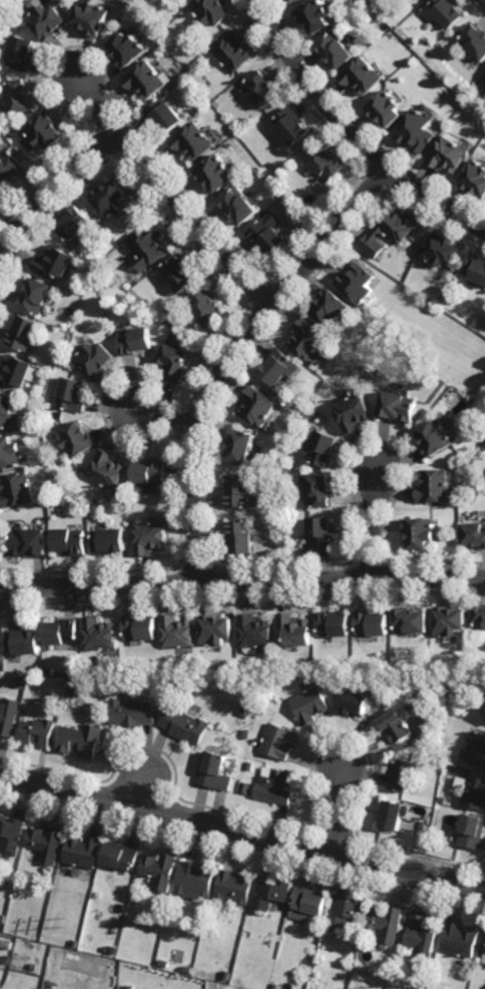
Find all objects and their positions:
building: (292, 0)
building: (294, 0)
building: (211, 10)
building: (442, 12)
building: (315, 15)
building: (94, 17)
building: (47, 18)
building: (474, 41)
building: (126, 48)
building: (336, 49)
building: (232, 51)
building: (23, 52)
building: (362, 75)
building: (144, 79)
building: (484, 82)
building: (261, 88)
building: (21, 96)
building: (386, 108)
building: (191, 113)
building: (164, 115)
building: (290, 125)
building: (46, 131)
road: (352, 131)
building: (417, 131)
building: (193, 141)
building: (473, 148)
building: (448, 154)
building: (325, 162)
building: (10, 166)
building: (215, 173)
building: (475, 178)
road: (47, 191)
road: (170, 193)
building: (1, 196)
building: (113, 200)
building: (239, 206)
building: (75, 224)
building: (388, 229)
building: (267, 234)
building: (149, 245)
building: (440, 250)
building: (55, 262)
building: (475, 268)
building: (178, 274)
building: (356, 282)
building: (37, 297)
building: (204, 306)
building: (330, 307)
building: (24, 334)
building: (307, 339)
building: (134, 341)
road: (234, 350)
building: (95, 359)
building: (174, 362)
building: (276, 367)
building: (16, 373)
building: (73, 394)
building: (258, 405)
building: (398, 408)
building: (312, 409)
building: (6, 410)
building: (353, 412)
road: (167, 418)
building: (434, 435)
building: (78, 436)
building: (241, 443)
building: (323, 445)
building: (10, 449)
building: (106, 468)
building: (149, 470)
building: (287, 481)
building: (433, 483)
building: (18, 487)
building: (150, 487)
building: (319, 487)
building: (160, 488)
building: (239, 488)
building: (48, 492)
building: (296, 514)
road: (373, 522)
building: (418, 530)
building: (320, 531)
building: (473, 533)
building: (240, 534)
building: (149, 536)
building: (72, 538)
building: (32, 539)
building: (109, 539)
road: (242, 581)
building: (479, 617)
building: (411, 619)
building: (448, 619)
building: (372, 621)
building: (333, 622)
building: (138, 625)
building: (215, 627)
building: (295, 627)
building: (64, 629)
building: (254, 629)
building: (176, 630)
building: (99, 632)
building: (25, 640)
building: (0, 646)
building: (308, 663)
building: (277, 665)
building: (68, 670)
building: (445, 678)
building: (21, 682)
building: (72, 692)
building: (357, 702)
building: (309, 704)
building: (261, 708)
building: (131, 711)
building: (242, 714)
building: (9, 715)
building: (184, 723)
building: (395, 725)
building: (38, 731)
building: (245, 733)
building: (82, 740)
building: (277, 740)
building: (476, 749)
building: (249, 765)
building: (213, 770)
building: (402, 772)
building: (274, 786)
building: (474, 791)
building: (439, 799)
road: (345, 812)
building: (393, 813)
building: (471, 830)
road: (242, 831)
building: (12, 833)
building: (47, 842)
building: (83, 851)
building: (120, 855)
building: (158, 869)
building: (50, 870)
building: (194, 877)
building: (233, 886)
building: (147, 887)
building: (269, 893)
building: (307, 903)
building: (344, 910)
building: (97, 914)
building: (4, 919)
building: (385, 921)
power tower: (64, 922)
building: (419, 934)
building: (458, 939)
building: (482, 940)
building: (304, 958)
building: (8, 959)
power tower: (25, 961)
building: (162, 962)
building: (36, 967)
building: (226, 973)
building: (211, 986)
building: (273, 986)
building: (129, 987)

